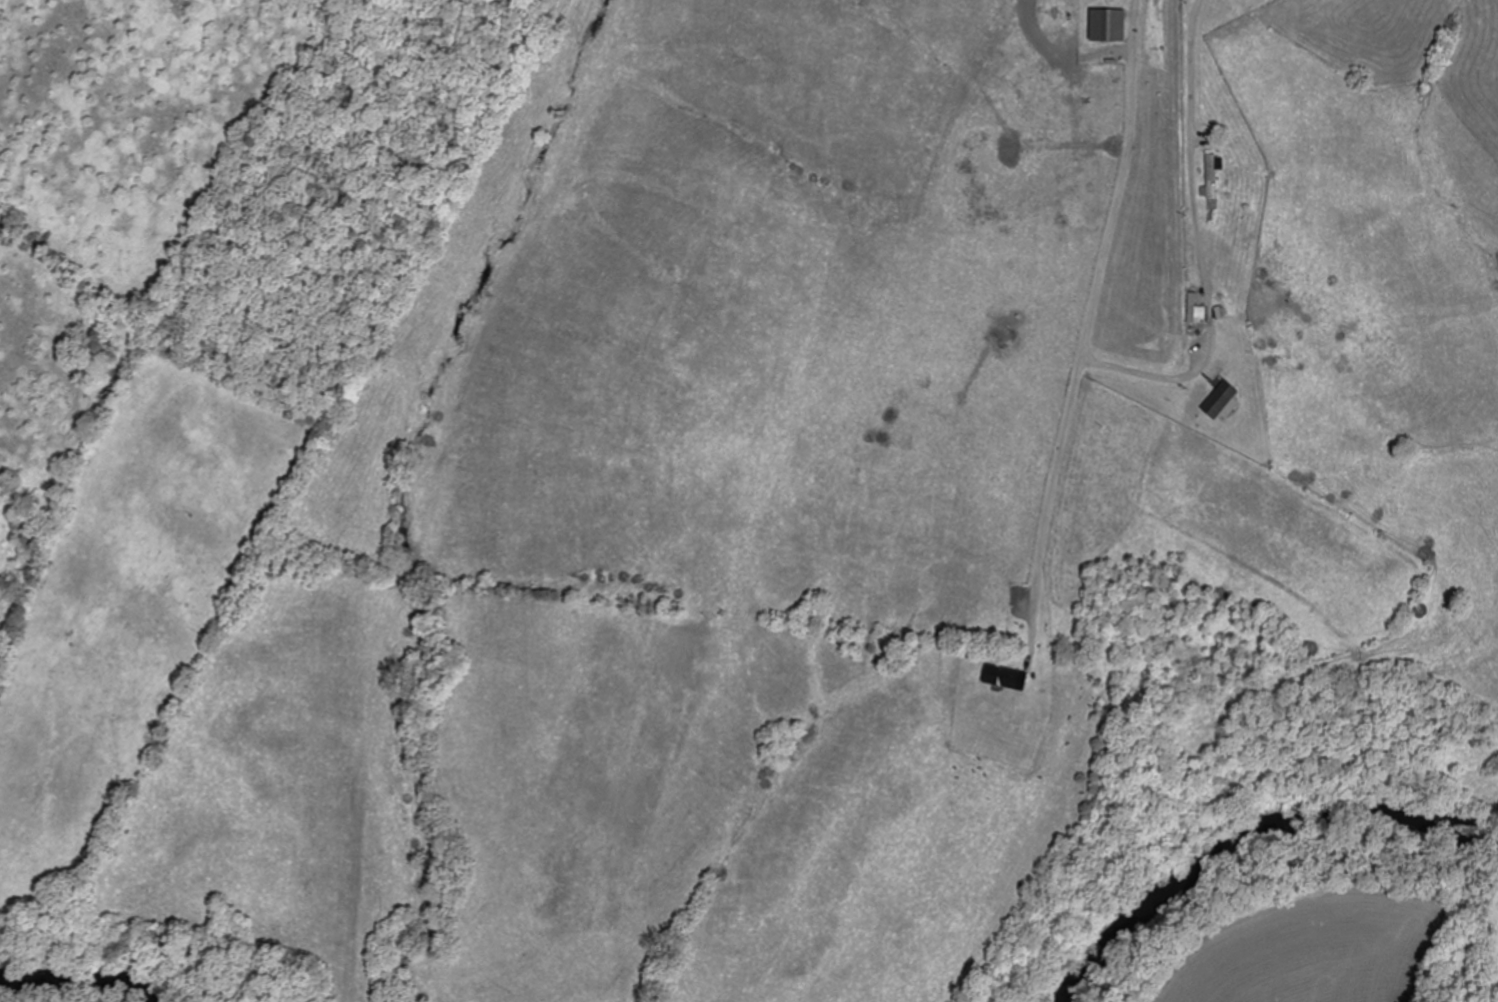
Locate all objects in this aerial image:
building: (1215, 175)
building: (1196, 311)
river: (1240, 815)
river: (97, 968)

